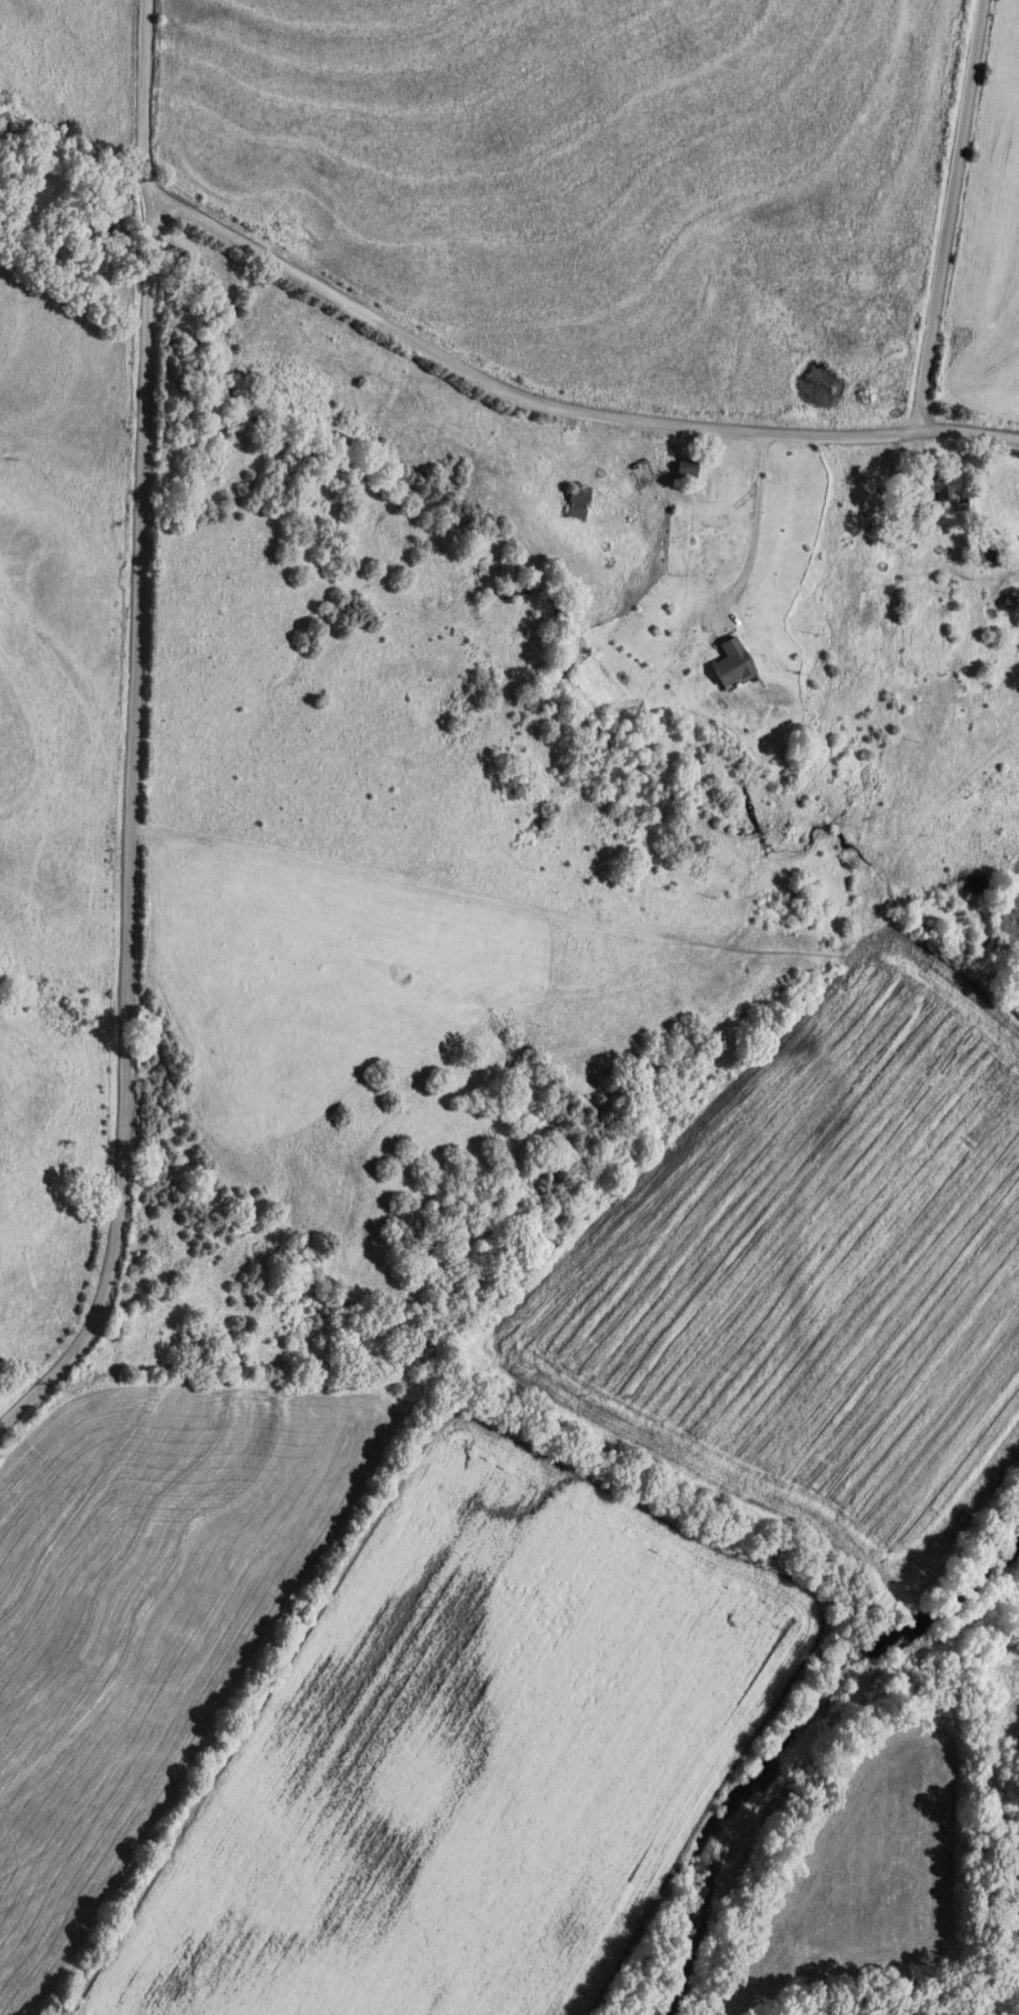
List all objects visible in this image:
road: (159, 110)
road: (959, 210)
road: (568, 408)
building: (686, 469)
building: (939, 490)
building: (579, 498)
road: (751, 521)
building: (984, 552)
building: (729, 663)
road: (136, 845)

